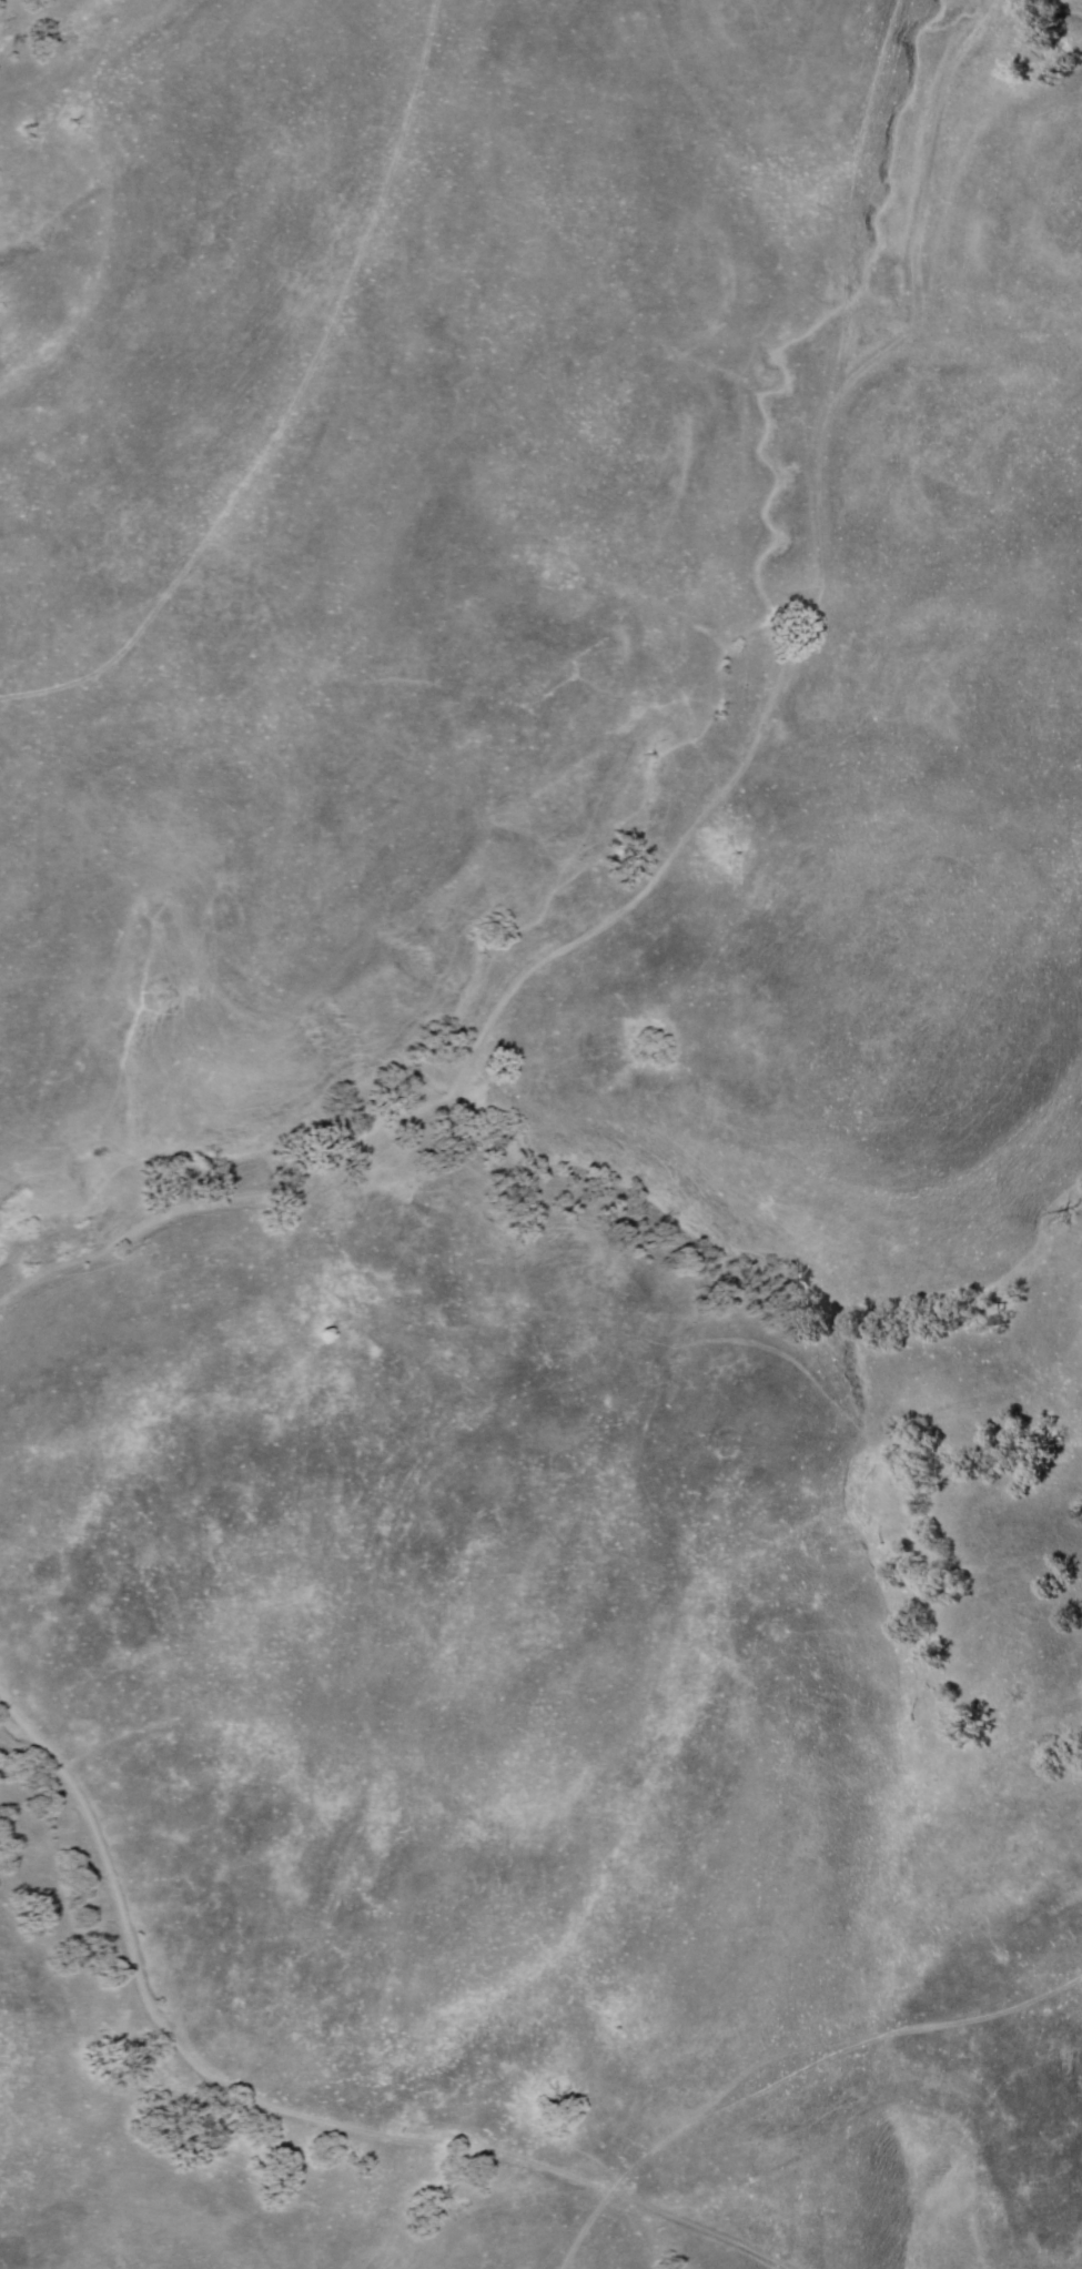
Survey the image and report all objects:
road: (704, 806)

